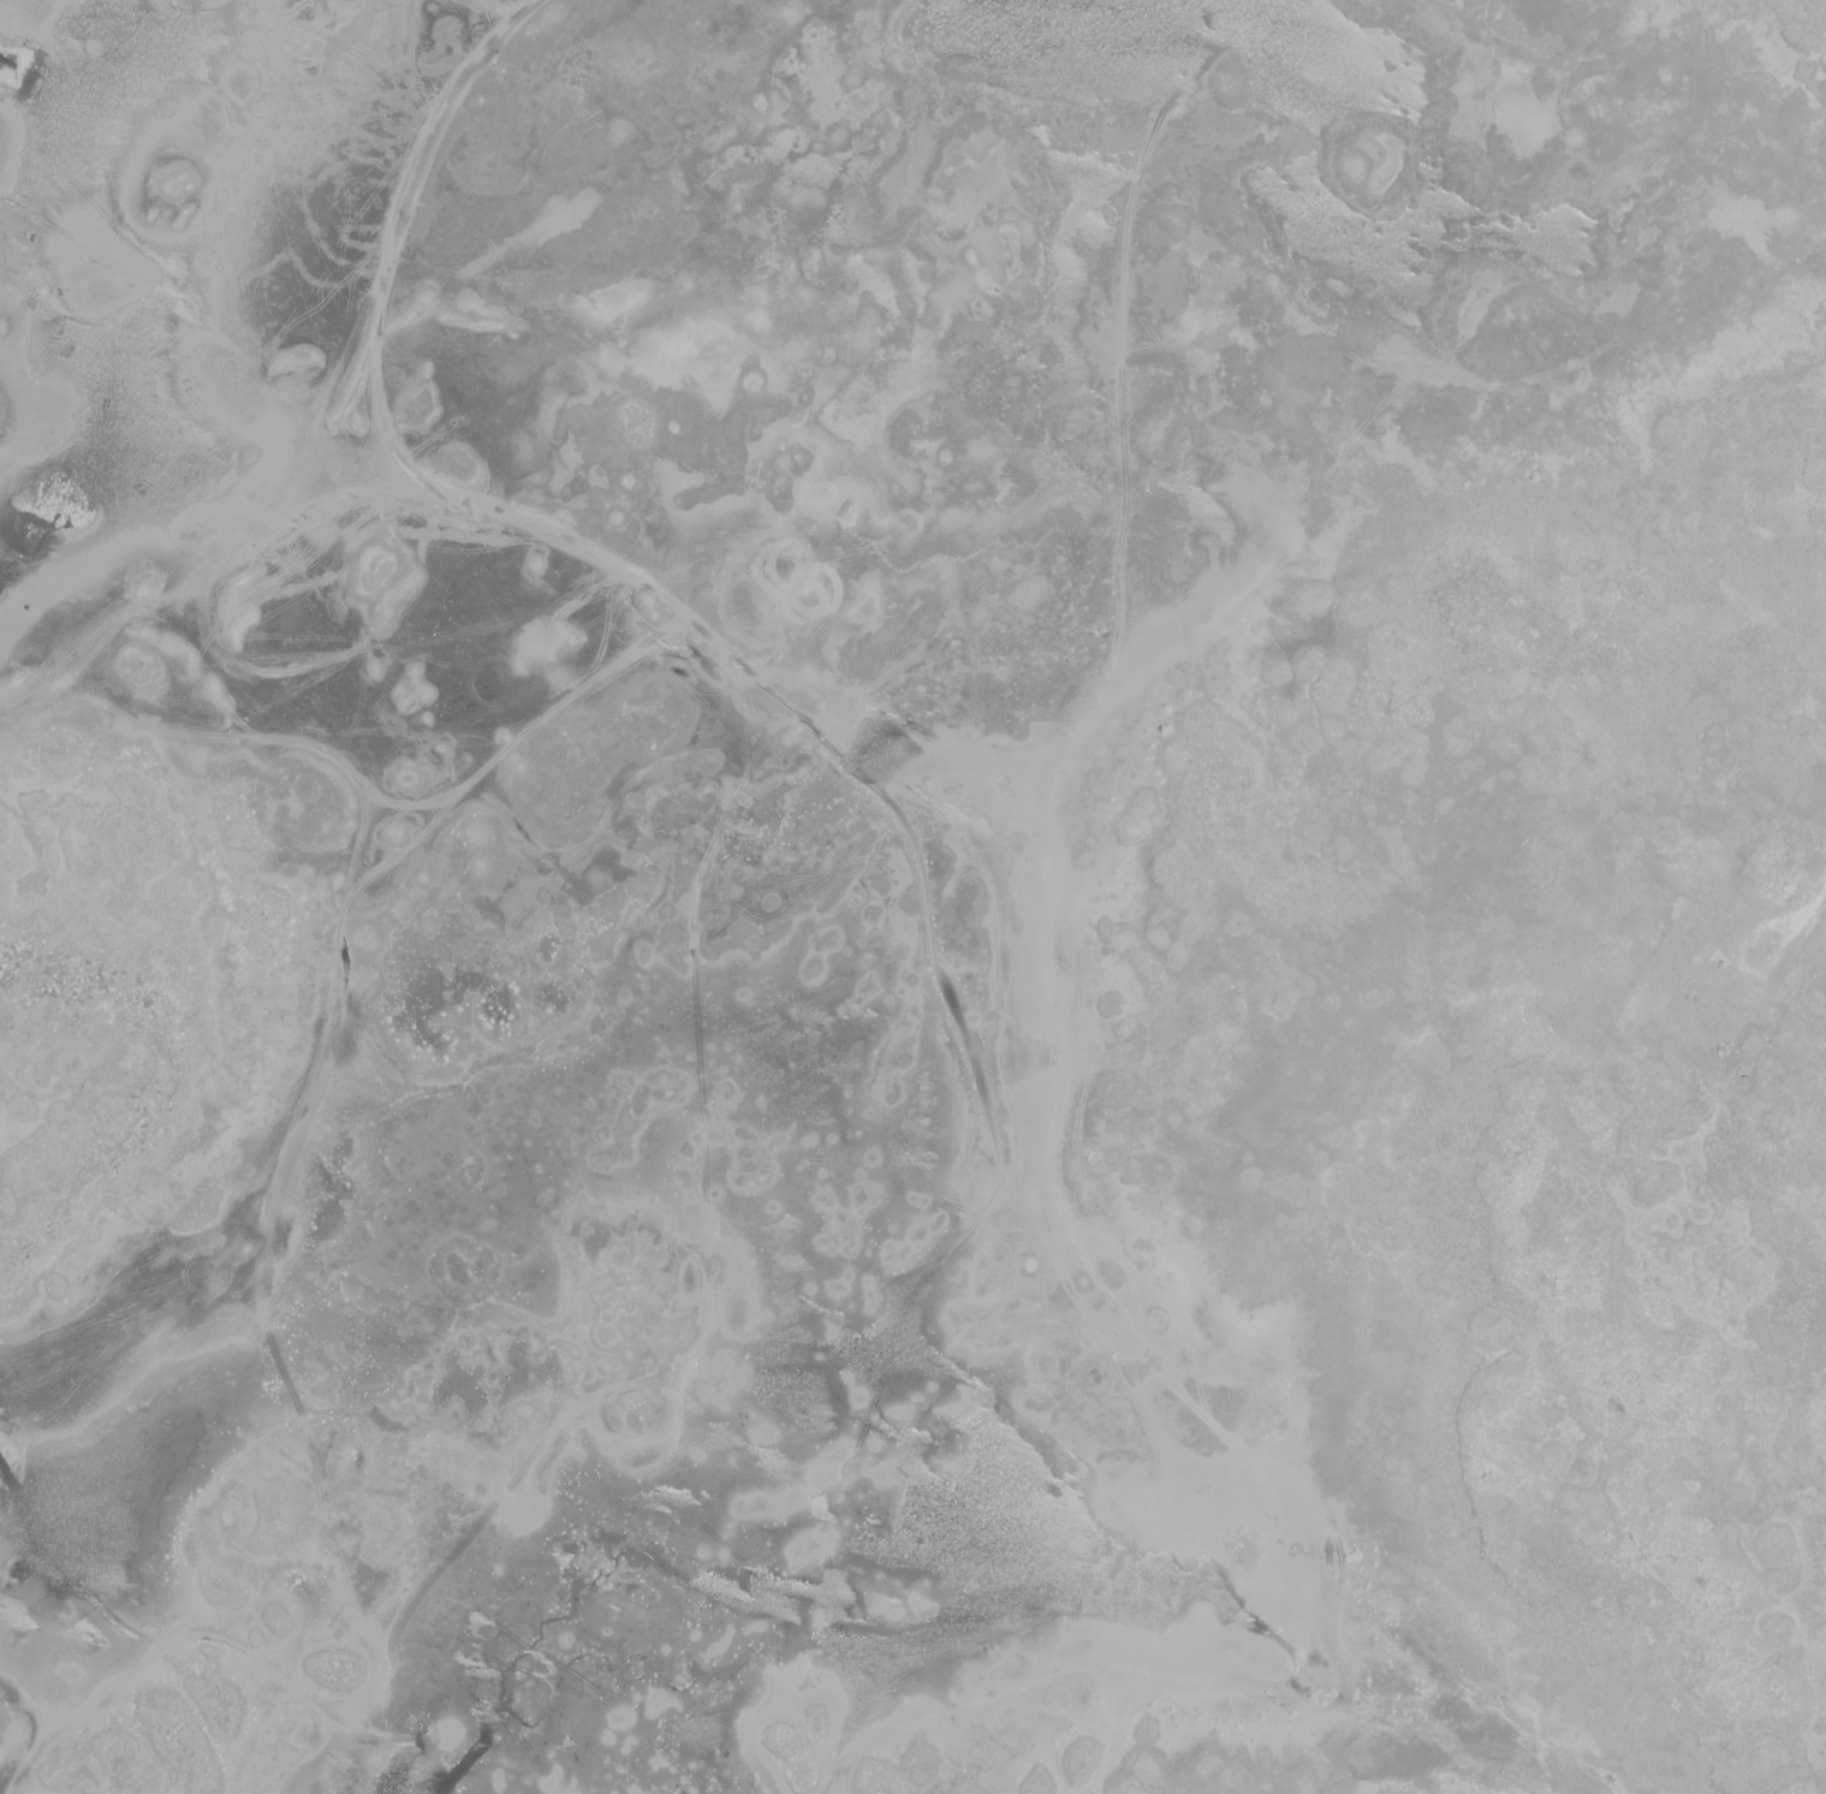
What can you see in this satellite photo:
park: (912, 897)

